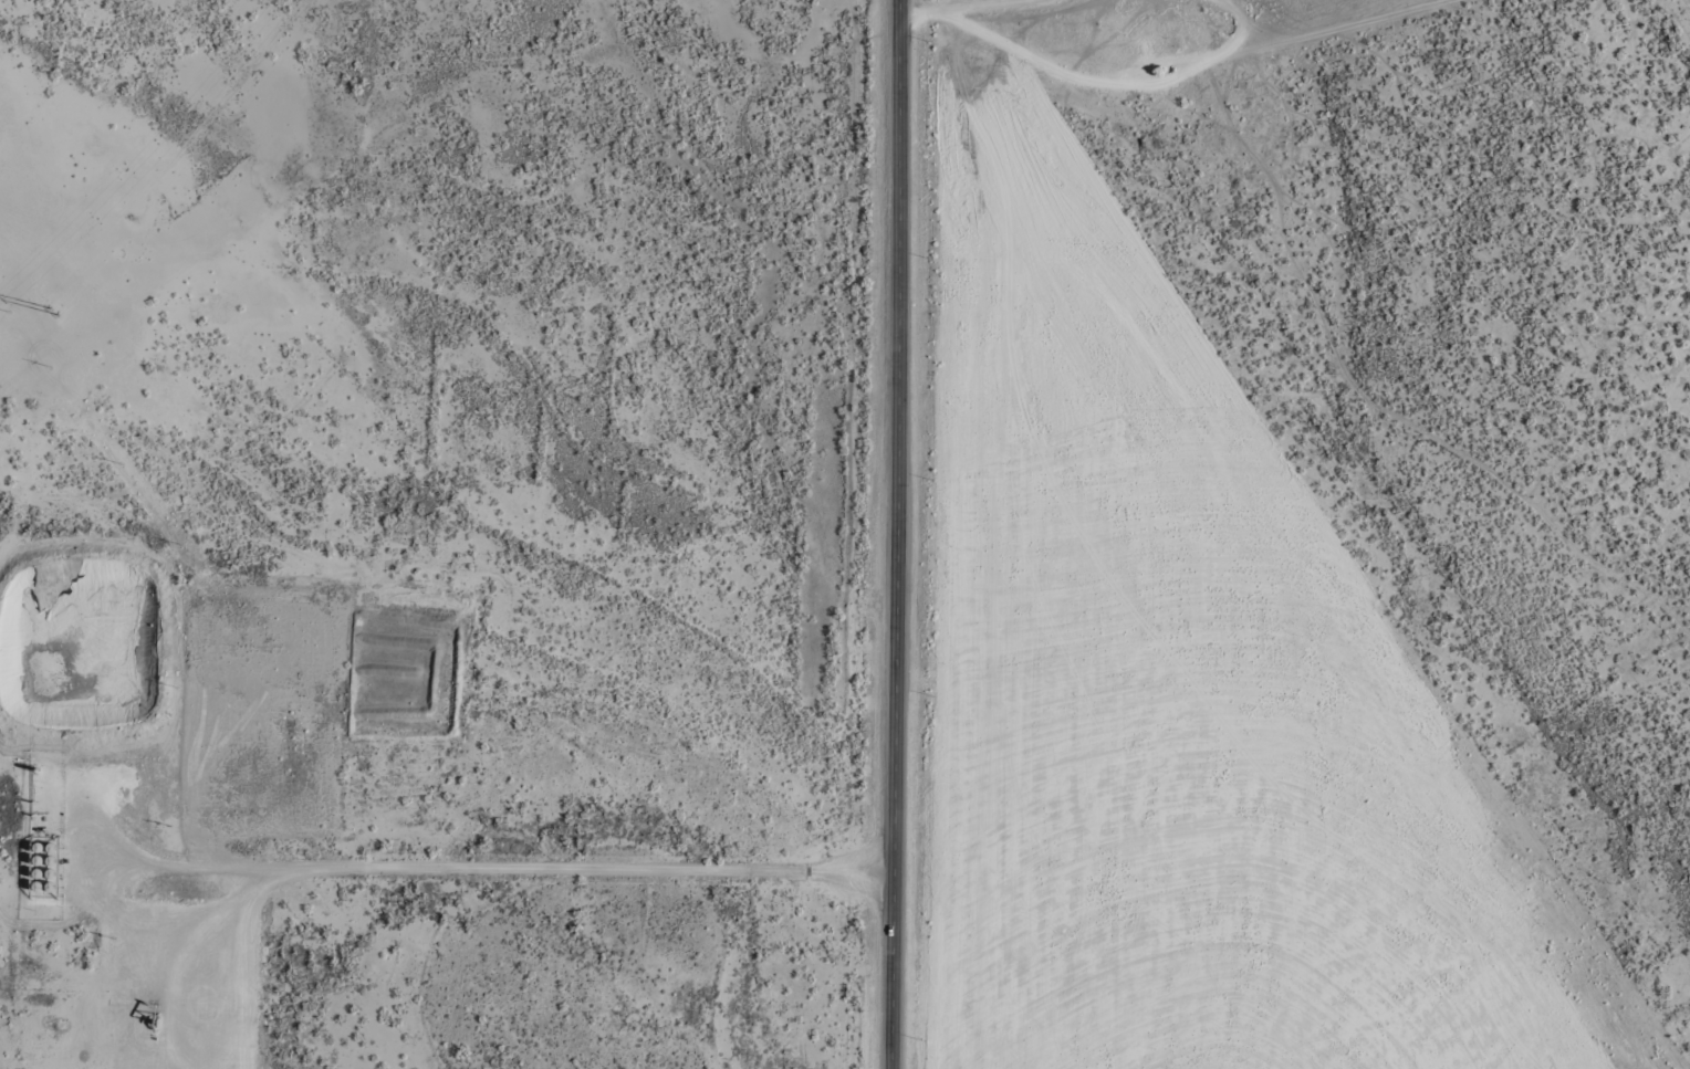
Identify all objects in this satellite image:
road: (1000, 7)
road: (930, 18)
road: (1130, 84)
road: (894, 534)
road: (479, 665)

